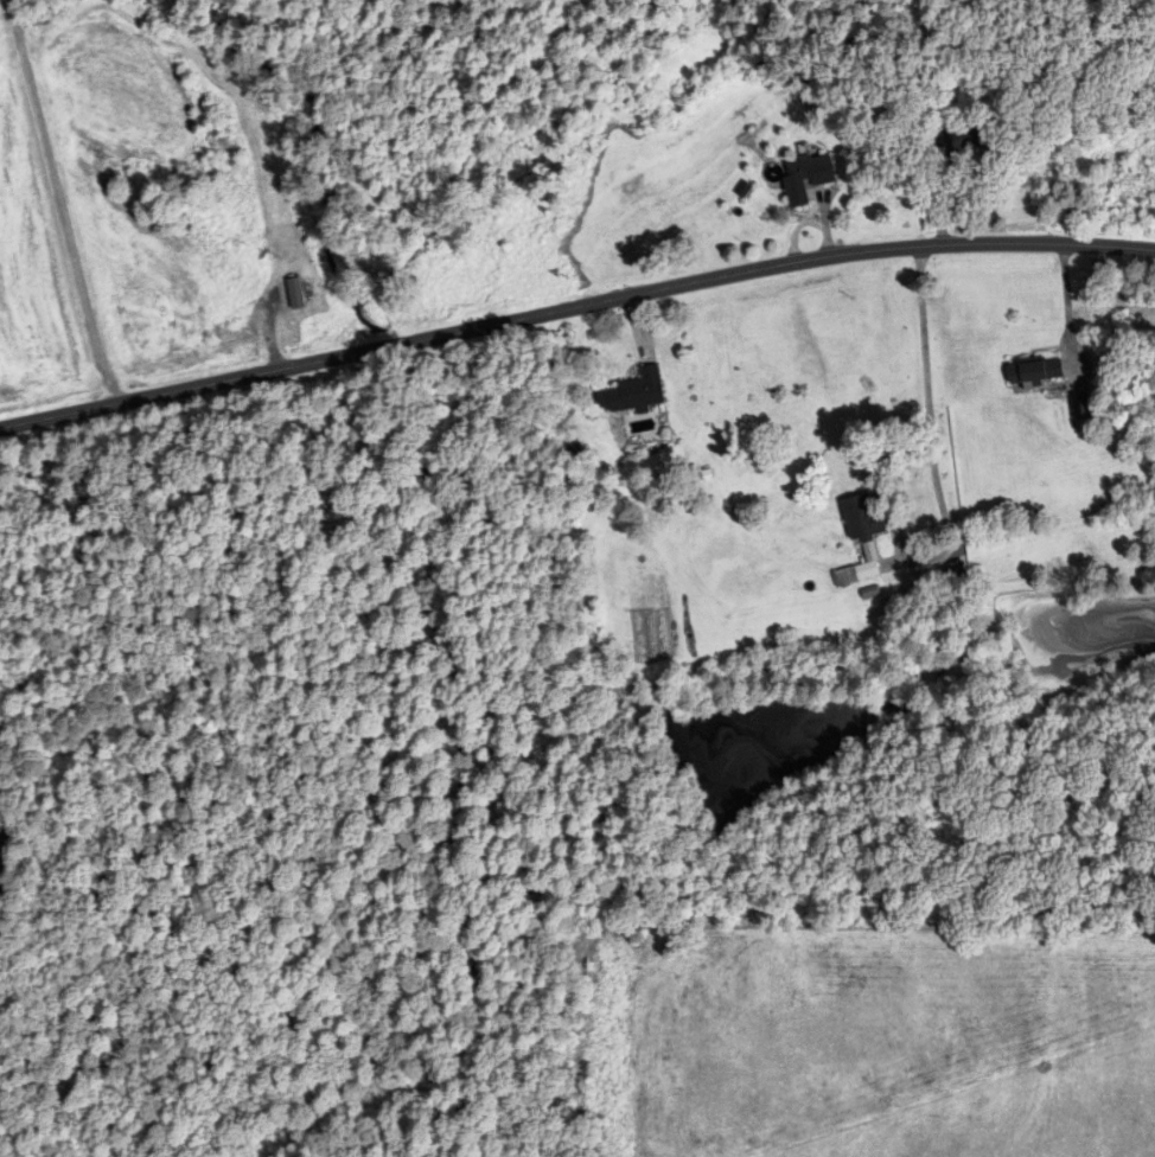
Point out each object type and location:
building: (955, 141)
building: (804, 179)
road: (59, 203)
building: (293, 294)
road: (574, 309)
building: (1033, 371)
building: (631, 394)
road: (883, 475)
building: (859, 538)

